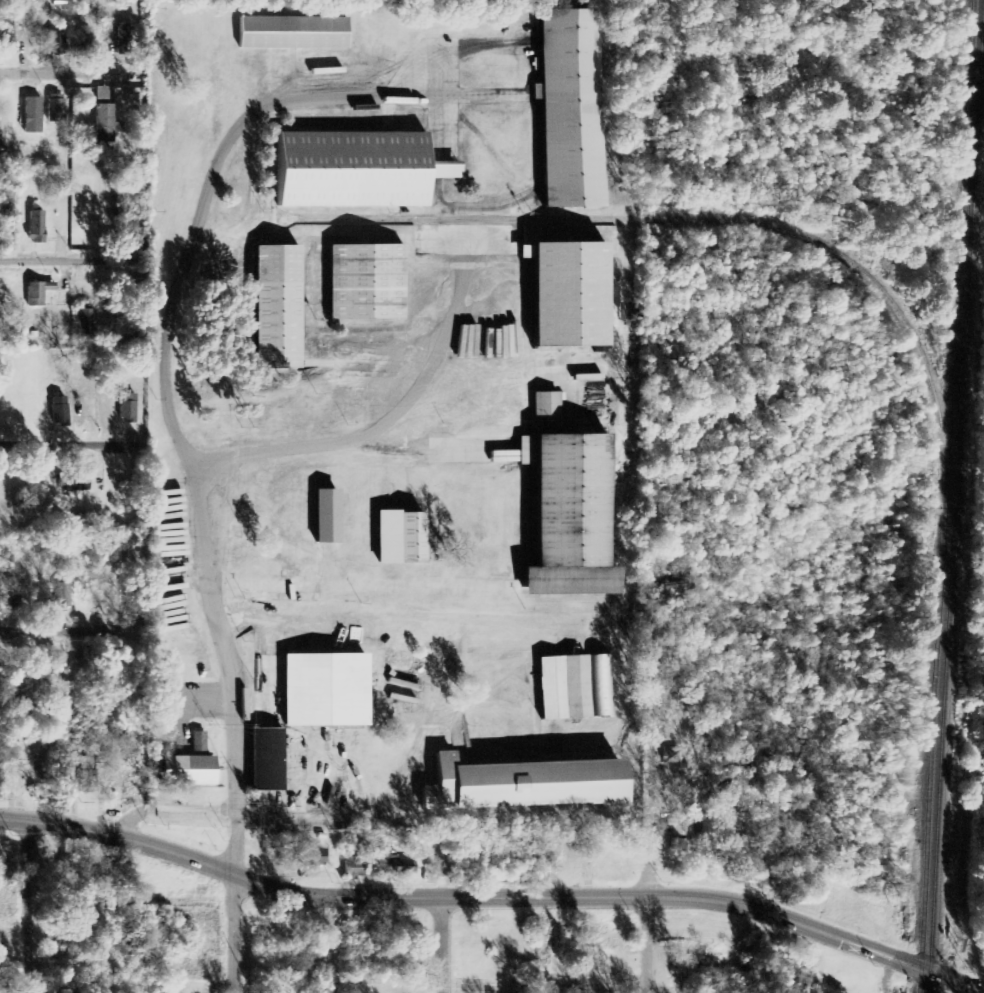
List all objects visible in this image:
building: (291, 34)
building: (124, 36)
building: (56, 45)
road: (71, 73)
building: (102, 94)
building: (573, 108)
building: (56, 109)
building: (32, 116)
building: (105, 126)
building: (357, 167)
railway: (702, 217)
building: (36, 227)
road: (69, 260)
building: (366, 279)
building: (570, 291)
building: (36, 293)
building: (277, 304)
building: (84, 322)
building: (544, 406)
building: (127, 407)
building: (58, 411)
road: (66, 445)
building: (75, 484)
railway: (946, 496)
railway: (955, 496)
building: (327, 514)
building: (572, 515)
building: (400, 535)
building: (12, 593)
road: (58, 633)
road: (229, 669)
building: (576, 685)
building: (325, 688)
building: (197, 742)
building: (263, 760)
building: (184, 771)
building: (86, 782)
building: (523, 782)
road: (650, 815)
building: (681, 827)
road: (118, 836)
building: (309, 857)
building: (400, 866)
building: (354, 868)
road: (579, 896)
road: (131, 904)
road: (30, 907)
road: (440, 919)
road: (231, 933)
road: (647, 944)
road: (887, 975)
road: (951, 978)
building: (70, 992)

